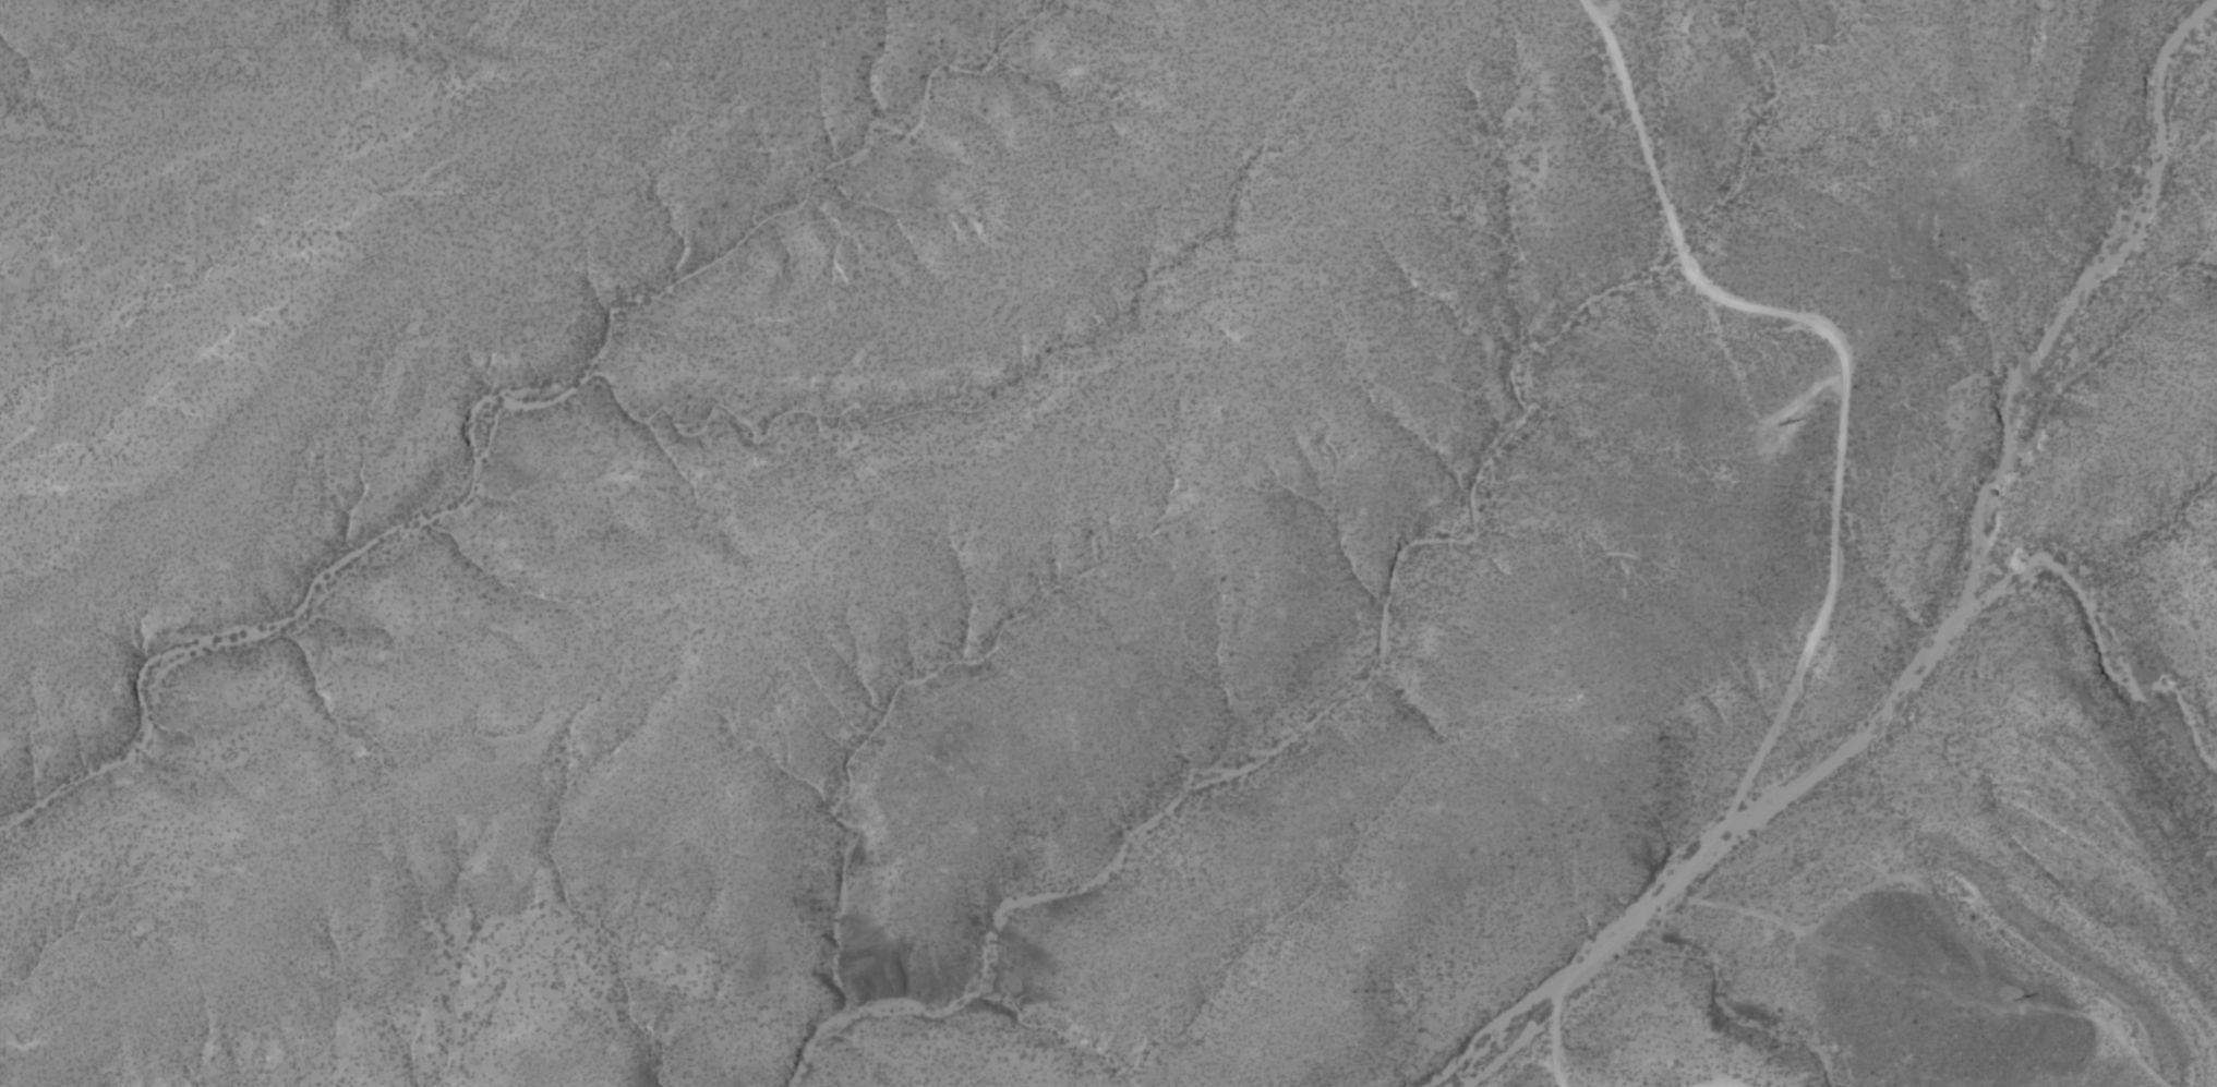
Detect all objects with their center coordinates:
road: (1841, 366)
power tower: (1781, 426)
road: (1642, 910)
power tower: (2015, 1001)
road: (1553, 1040)
road: (1725, 1085)

